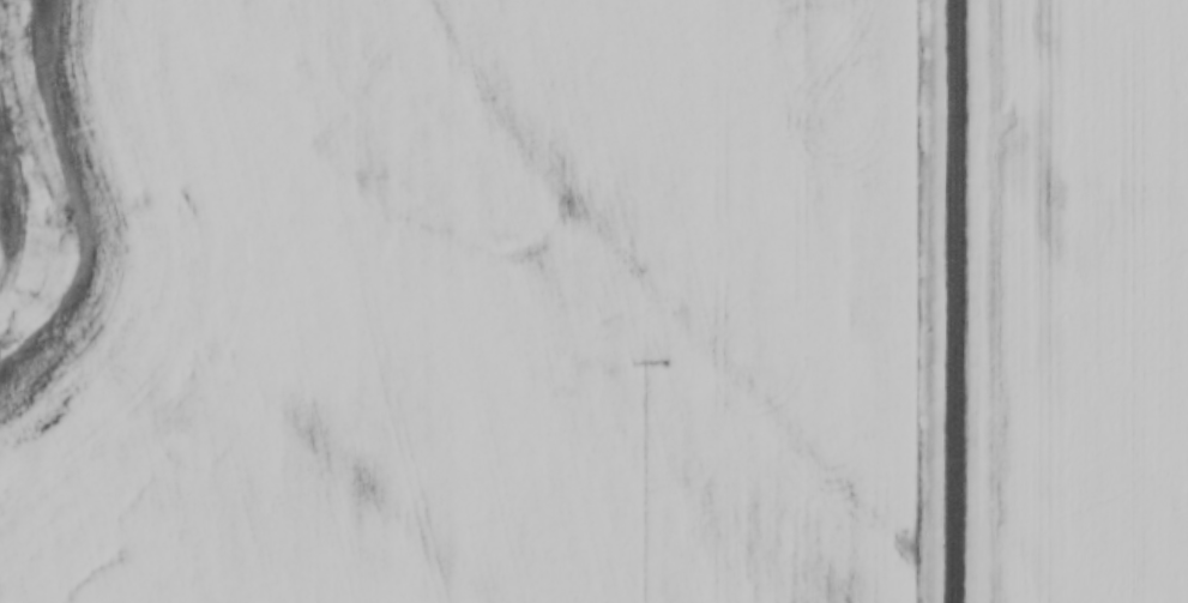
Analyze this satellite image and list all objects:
crop: (490, 310)

